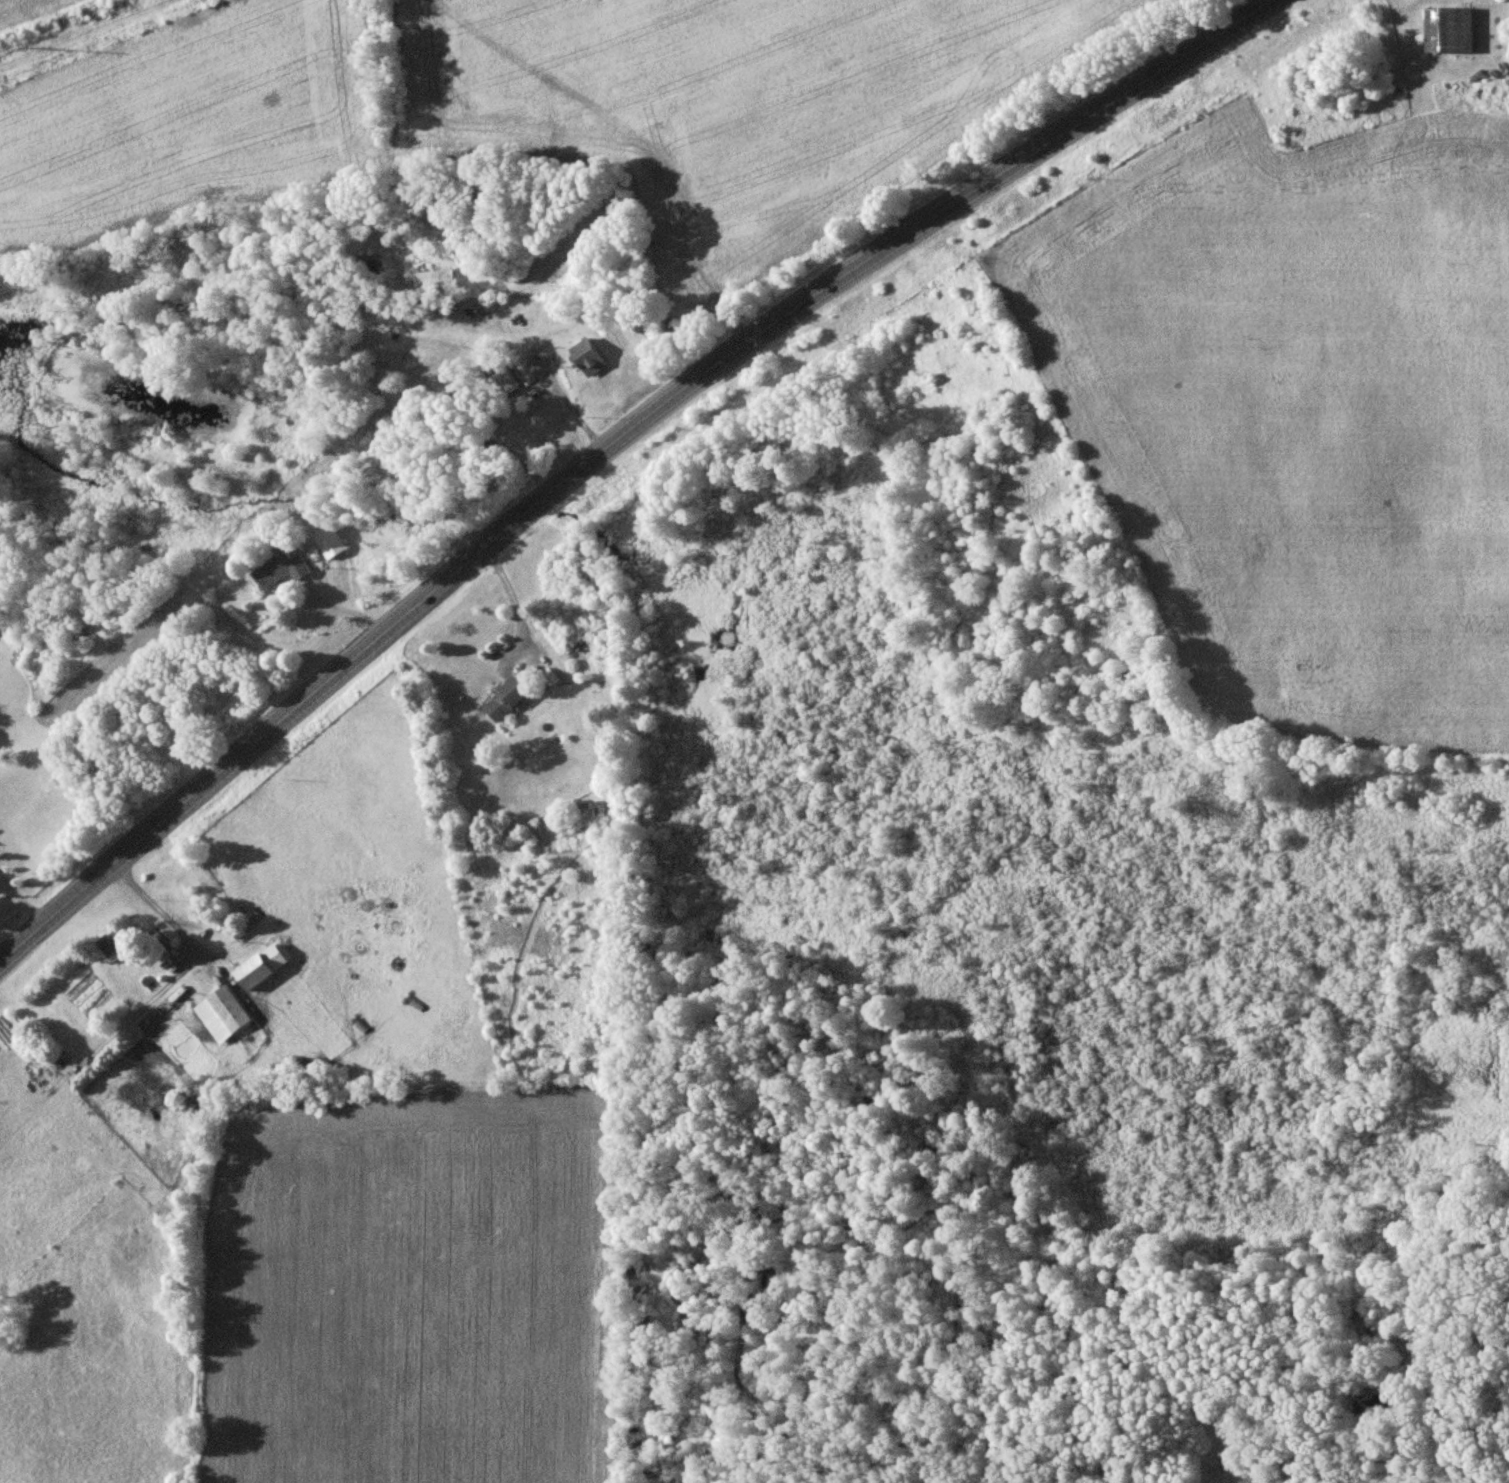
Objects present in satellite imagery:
building: (1450, 31)
building: (589, 357)
building: (503, 382)
road: (609, 443)
building: (280, 570)
road: (510, 597)
building: (1130, 675)
building: (506, 699)
road: (20, 904)
building: (122, 939)
building: (262, 967)
building: (221, 1014)

